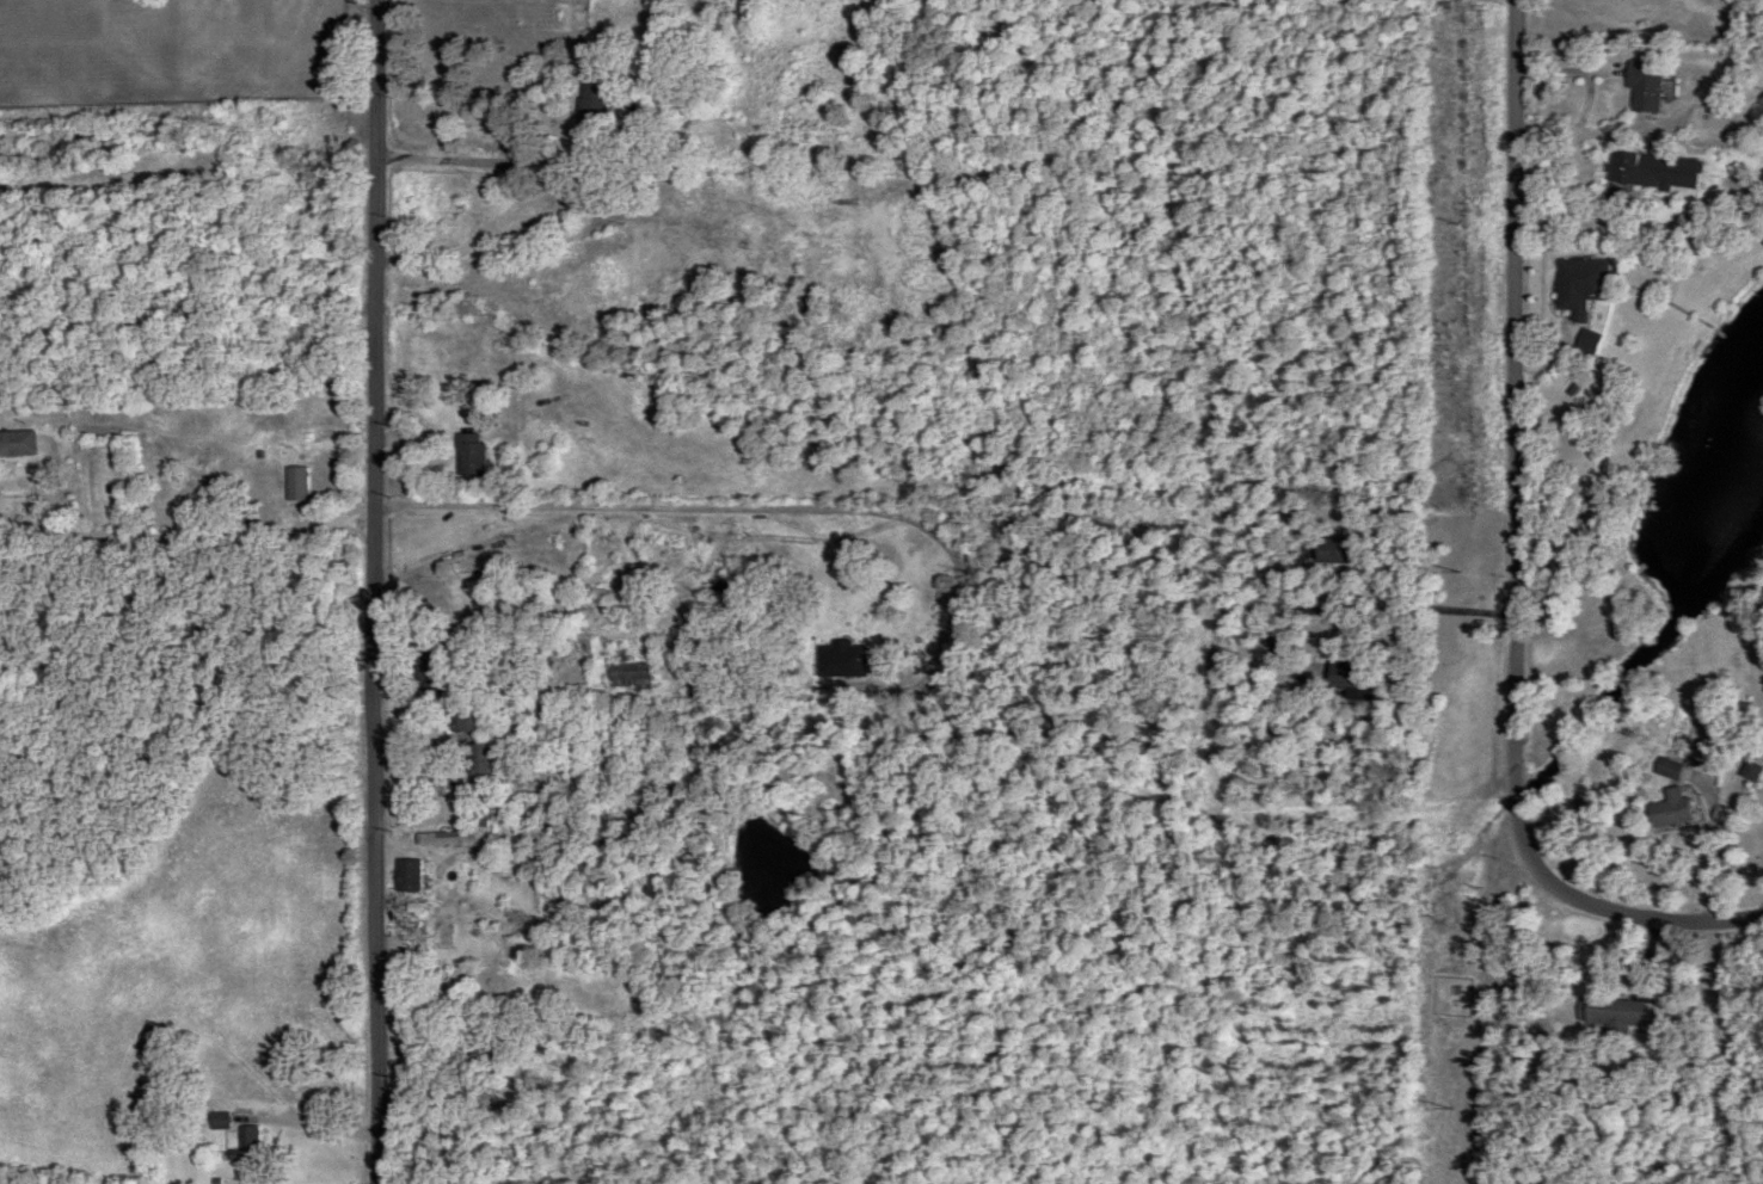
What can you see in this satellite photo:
building: (1641, 85)
road: (543, 166)
building: (1630, 174)
building: (1578, 282)
building: (1585, 340)
building: (16, 443)
building: (467, 454)
building: (293, 482)
road: (800, 493)
building: (1086, 520)
road: (236, 537)
road: (1223, 538)
building: (1332, 550)
road: (1515, 559)
road: (506, 579)
road: (376, 591)
road: (1328, 608)
building: (426, 666)
building: (1347, 677)
building: (479, 761)
building: (645, 807)
building: (443, 838)
road: (1709, 853)
road: (1761, 864)
building: (405, 875)
road: (1483, 1006)
building: (1608, 1011)
building: (216, 1121)
building: (245, 1145)

